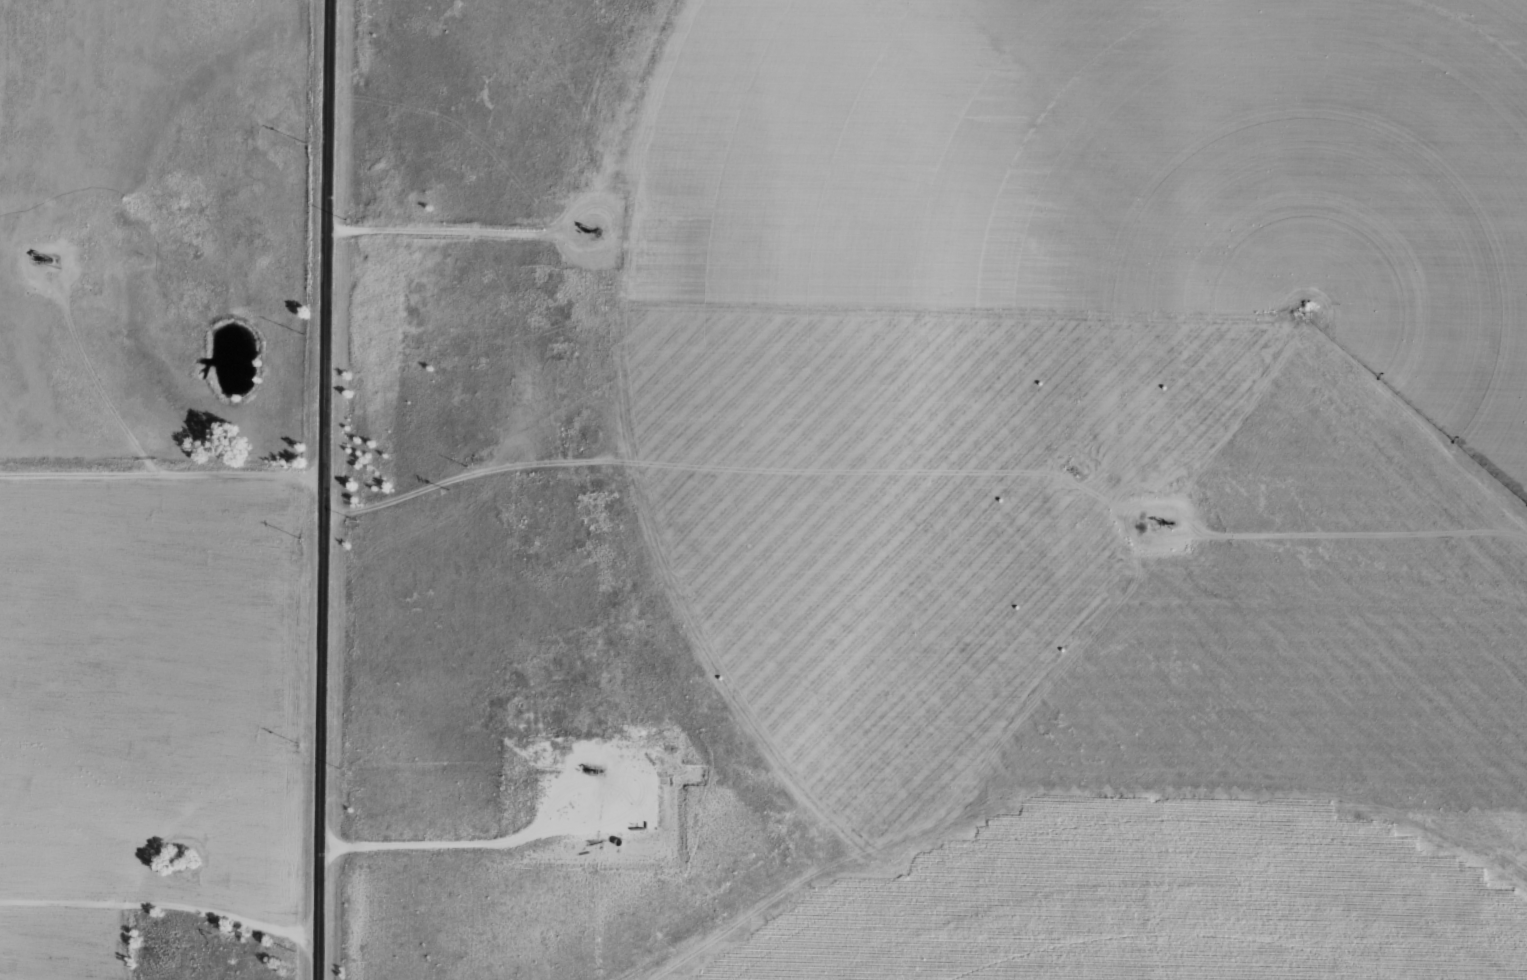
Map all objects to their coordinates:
petroleum well: (49, 260)
road: (332, 490)
petroleum well: (600, 781)

